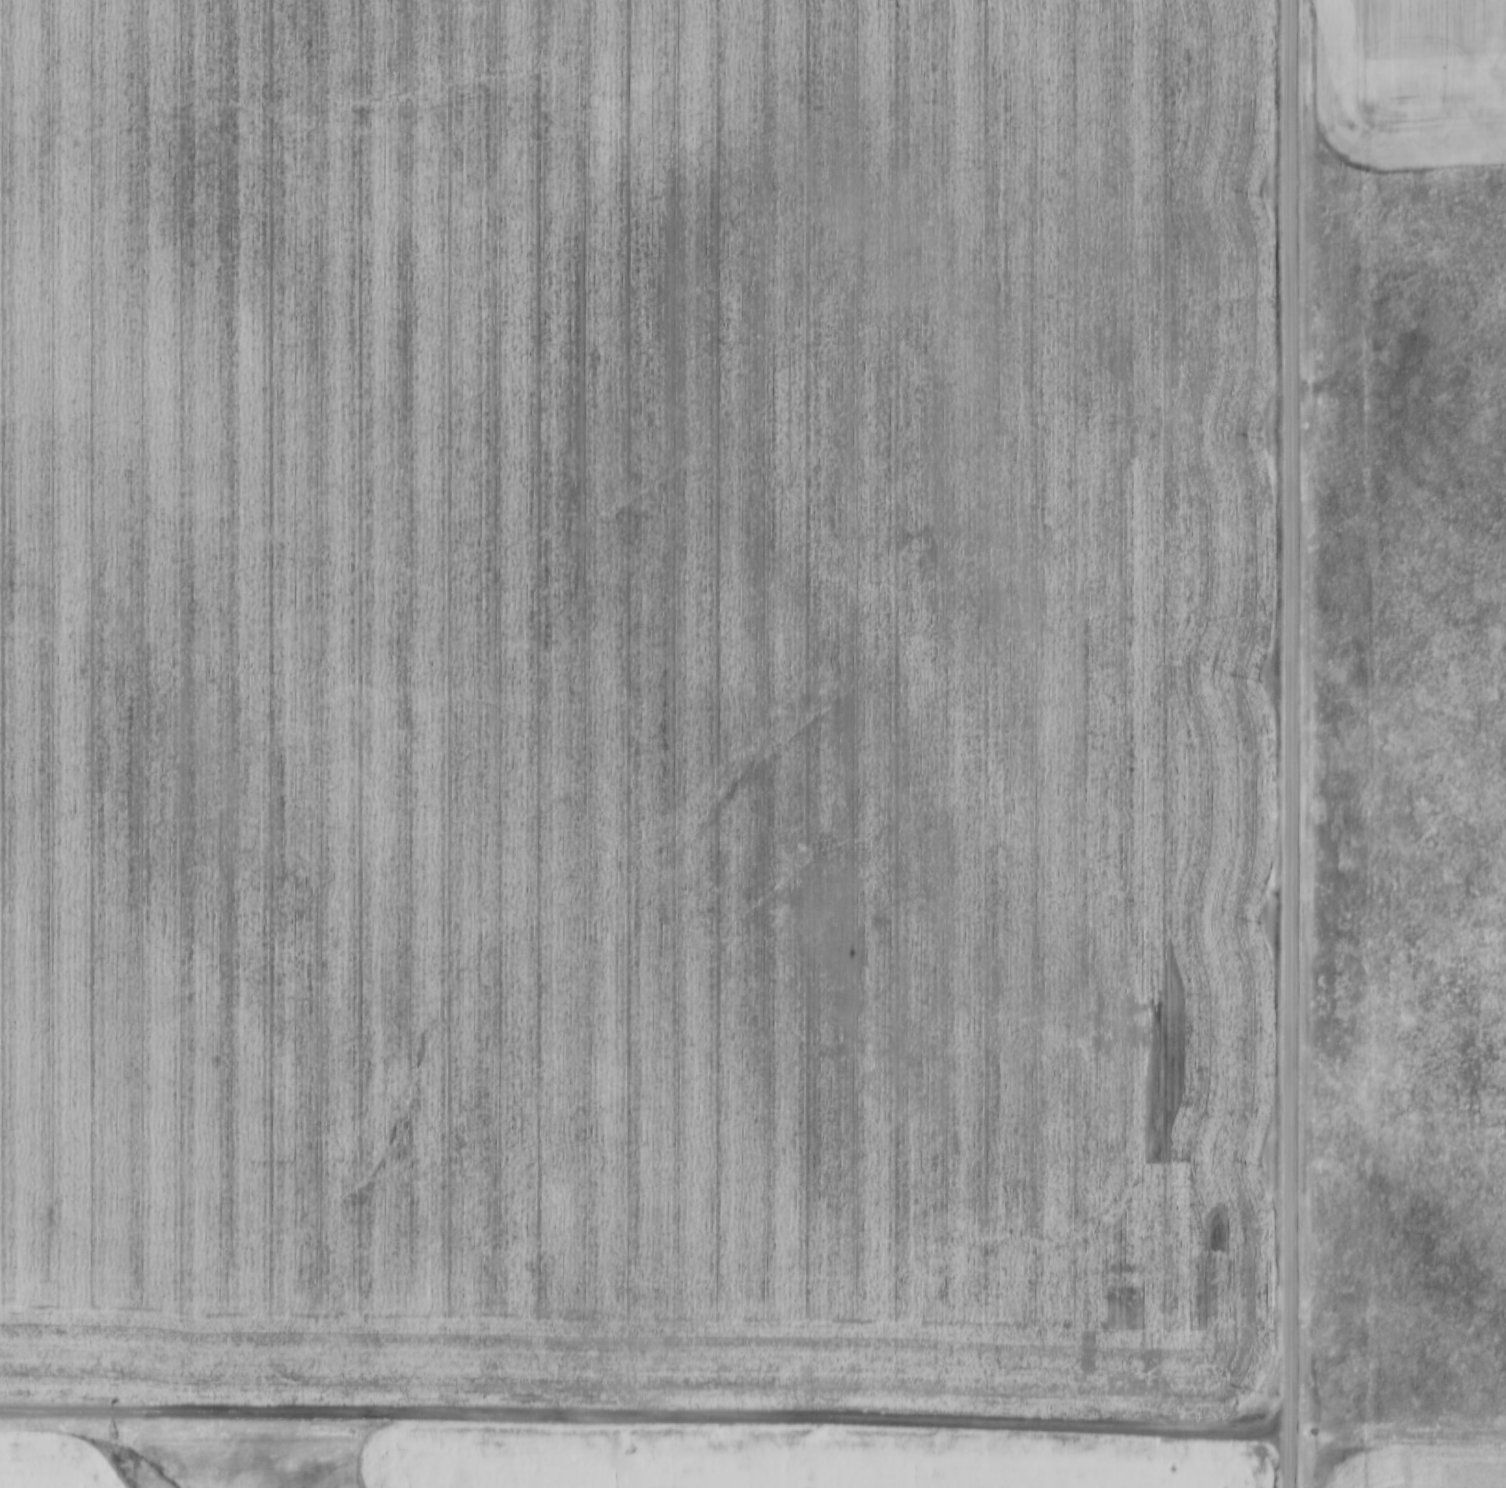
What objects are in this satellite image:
road: (1290, 743)
road: (643, 1421)

